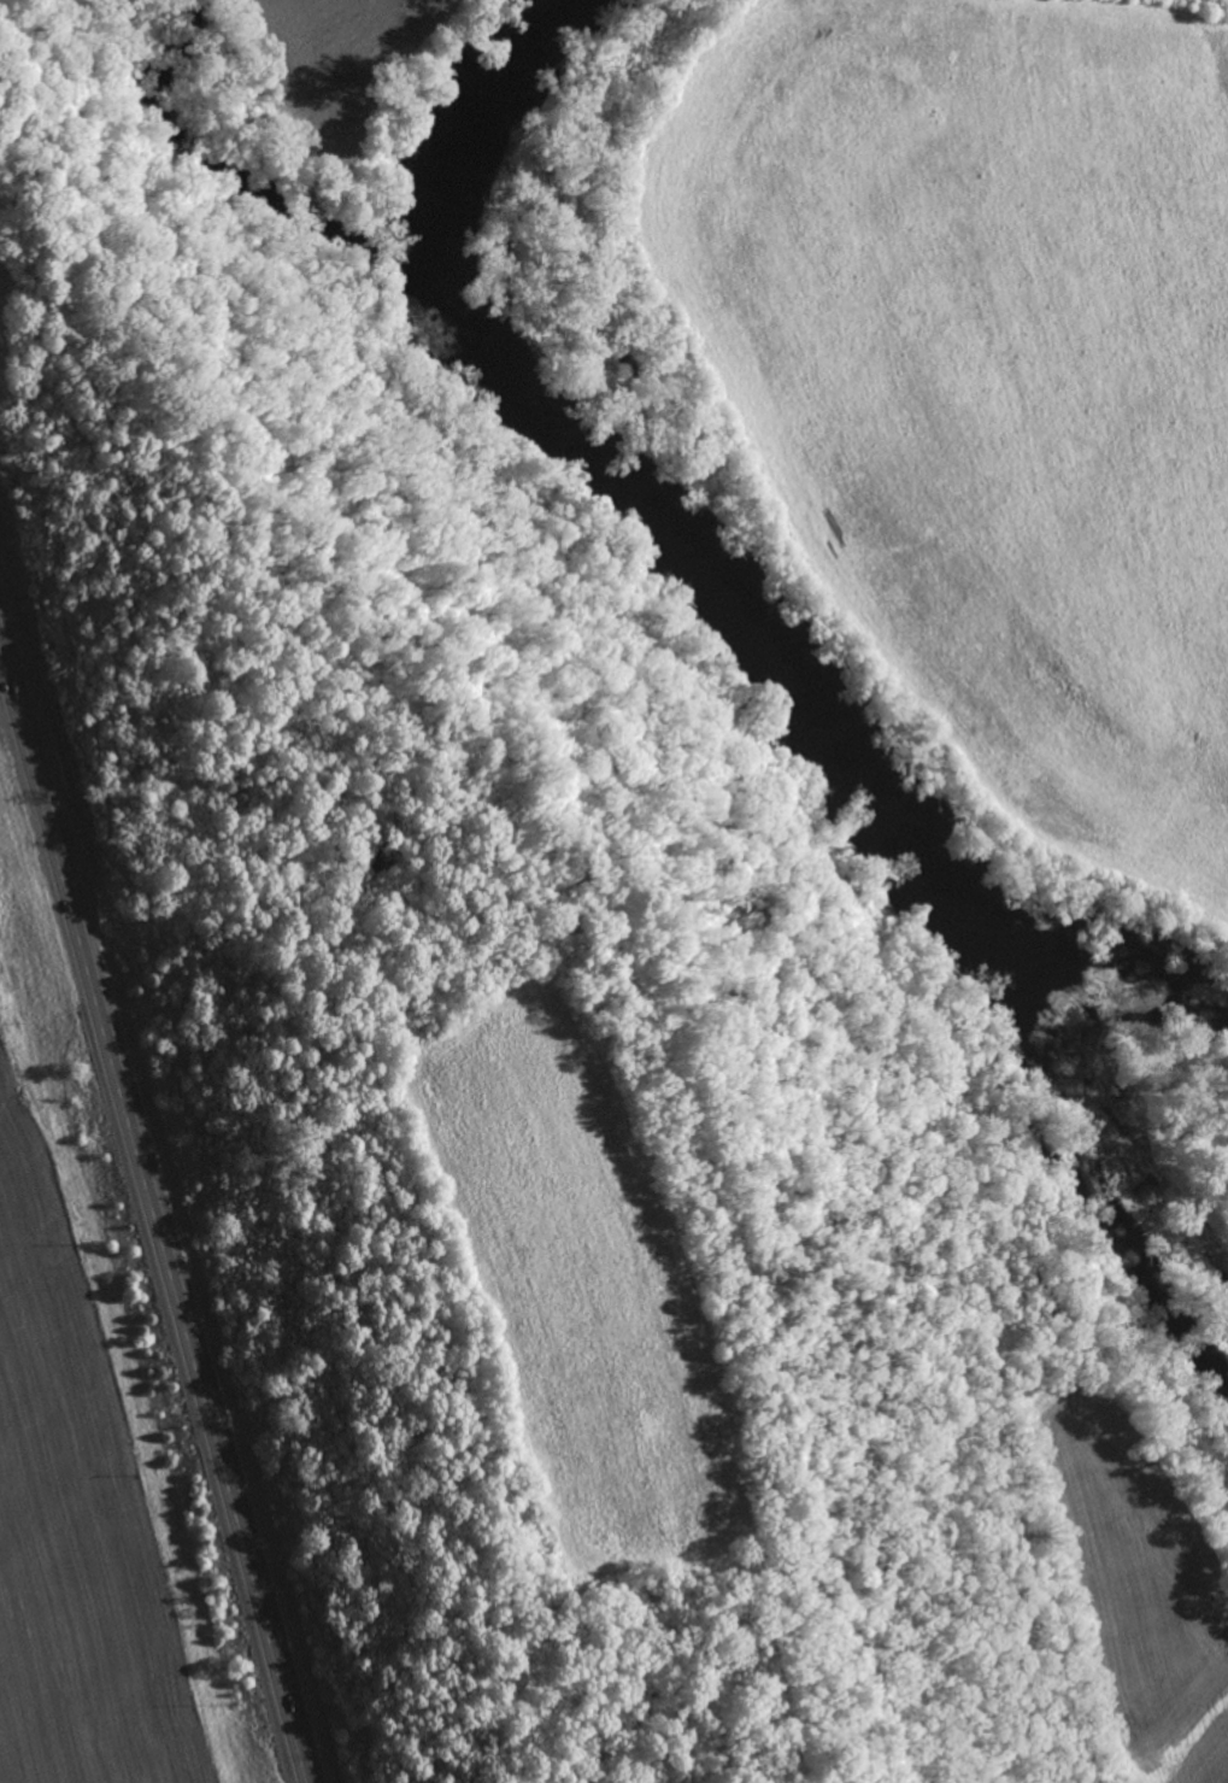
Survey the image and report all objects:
river: (693, 573)
road: (152, 1208)

